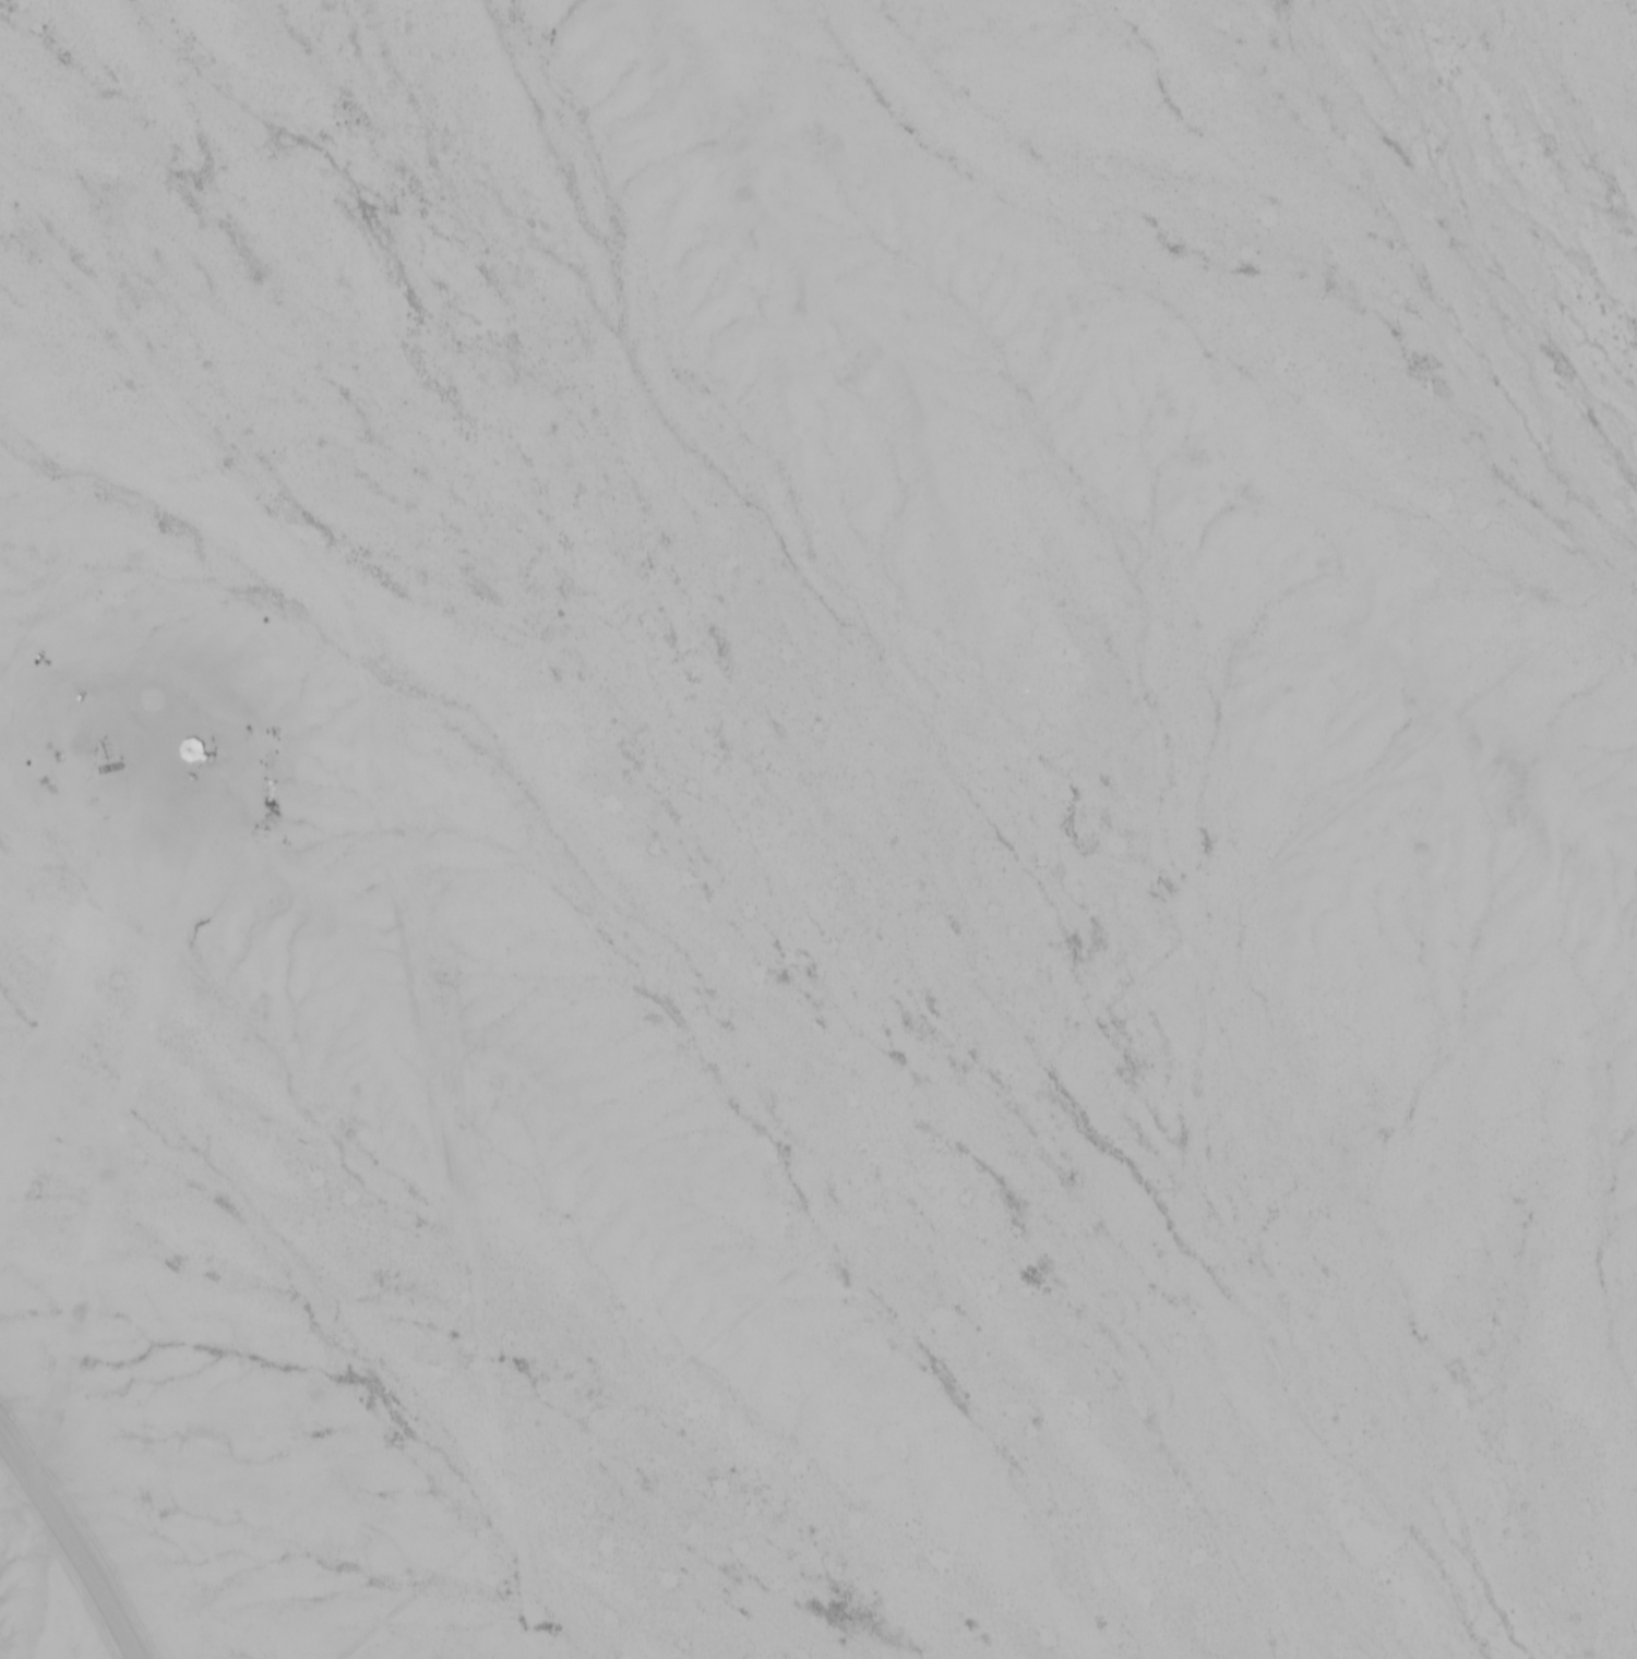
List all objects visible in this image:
road: (65, 1549)

